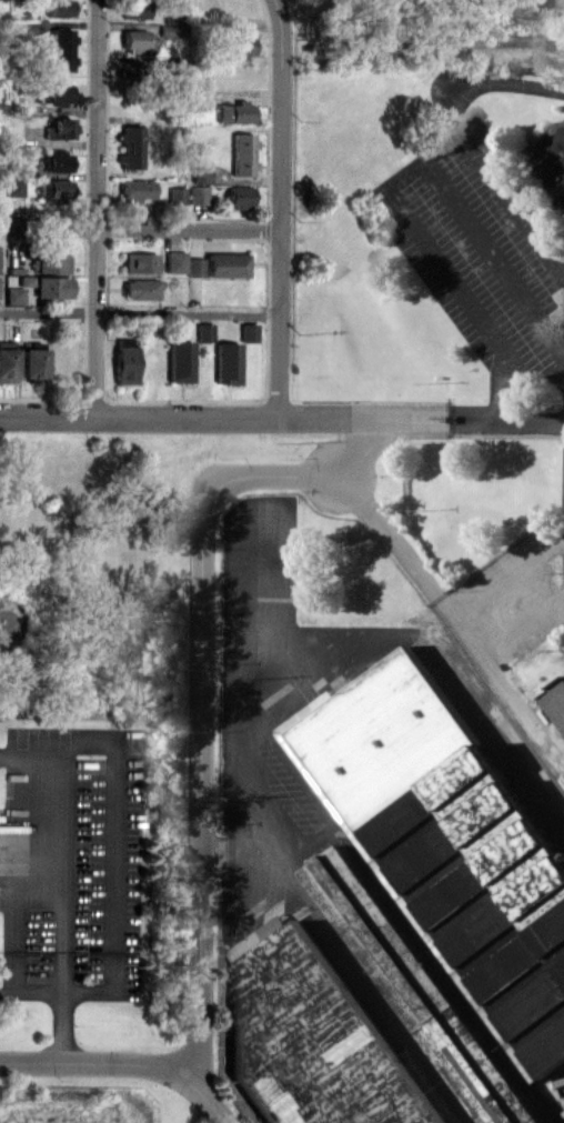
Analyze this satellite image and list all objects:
building: (59, 8)
building: (134, 8)
building: (138, 39)
railway: (433, 41)
building: (238, 47)
building: (61, 49)
building: (129, 70)
building: (58, 93)
building: (234, 112)
building: (58, 128)
road: (466, 137)
building: (130, 147)
building: (242, 153)
building: (53, 161)
building: (13, 187)
building: (53, 188)
building: (135, 189)
building: (198, 194)
building: (239, 195)
building: (175, 197)
road: (95, 207)
road: (278, 208)
road: (139, 228)
road: (494, 254)
building: (174, 261)
building: (50, 262)
building: (139, 262)
road: (432, 262)
building: (226, 264)
building: (194, 267)
building: (52, 287)
building: (140, 289)
building: (13, 294)
road: (139, 313)
building: (204, 331)
building: (248, 331)
building: (180, 360)
building: (31, 362)
building: (226, 362)
building: (7, 364)
building: (124, 364)
road: (282, 418)
road: (451, 616)
road: (522, 624)
road: (200, 684)
building: (557, 698)
building: (450, 831)
road: (113, 862)
road: (64, 876)
building: (300, 949)
road: (353, 960)
building: (462, 1054)
road: (67, 1062)
road: (187, 1080)

